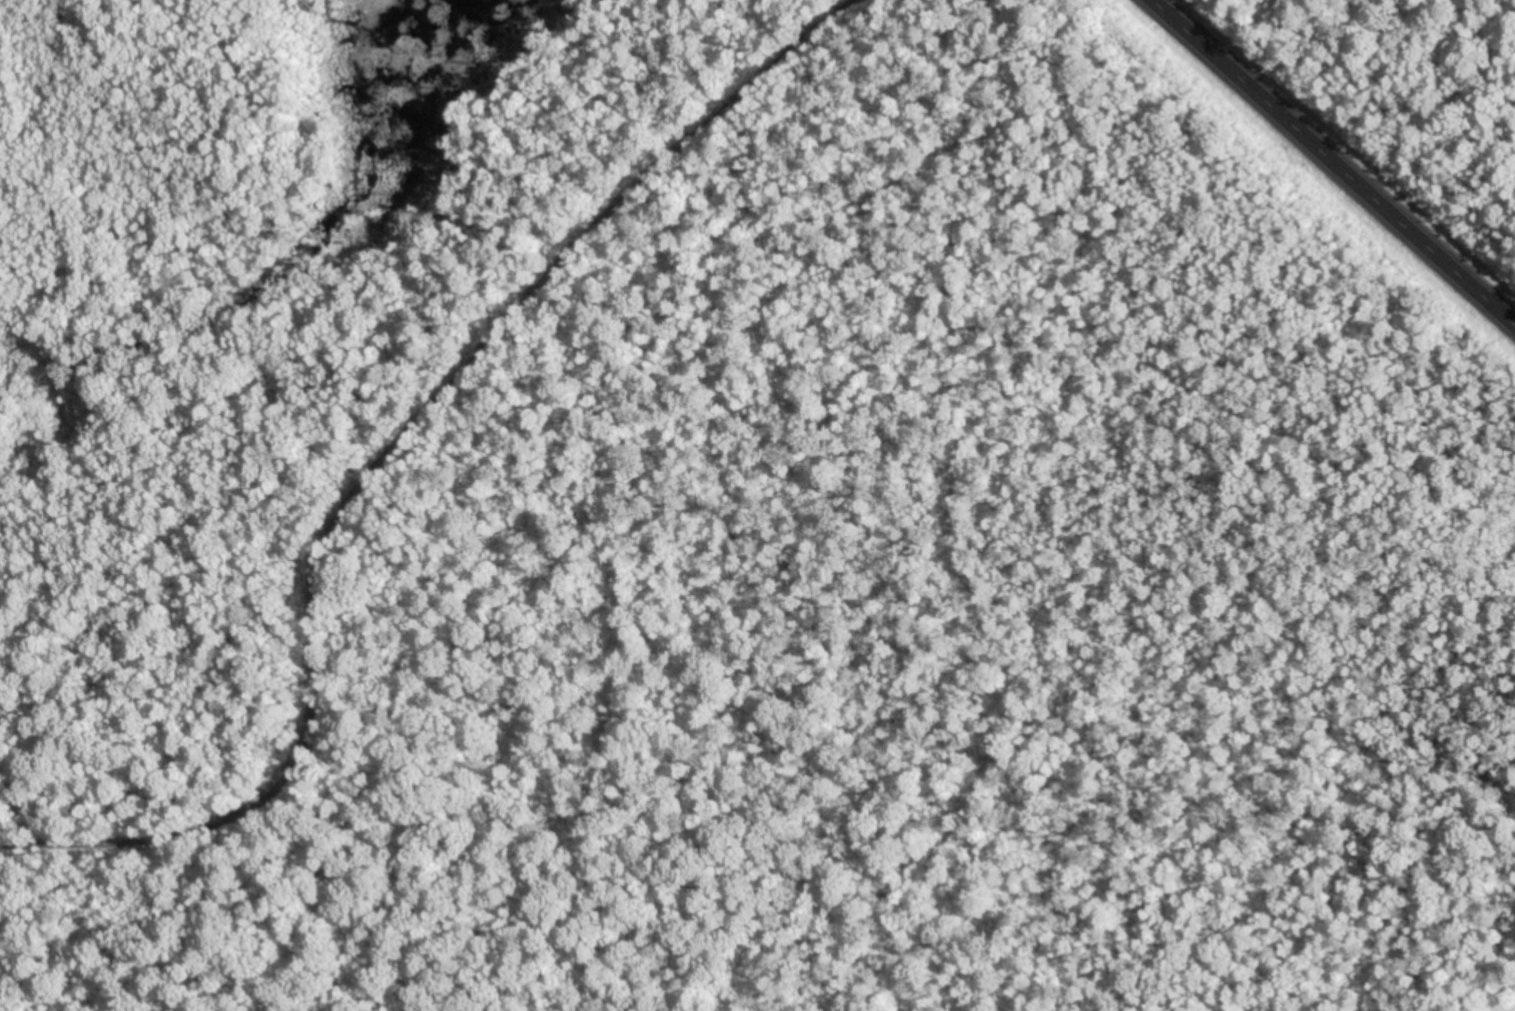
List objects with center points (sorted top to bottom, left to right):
road: (1334, 159)

